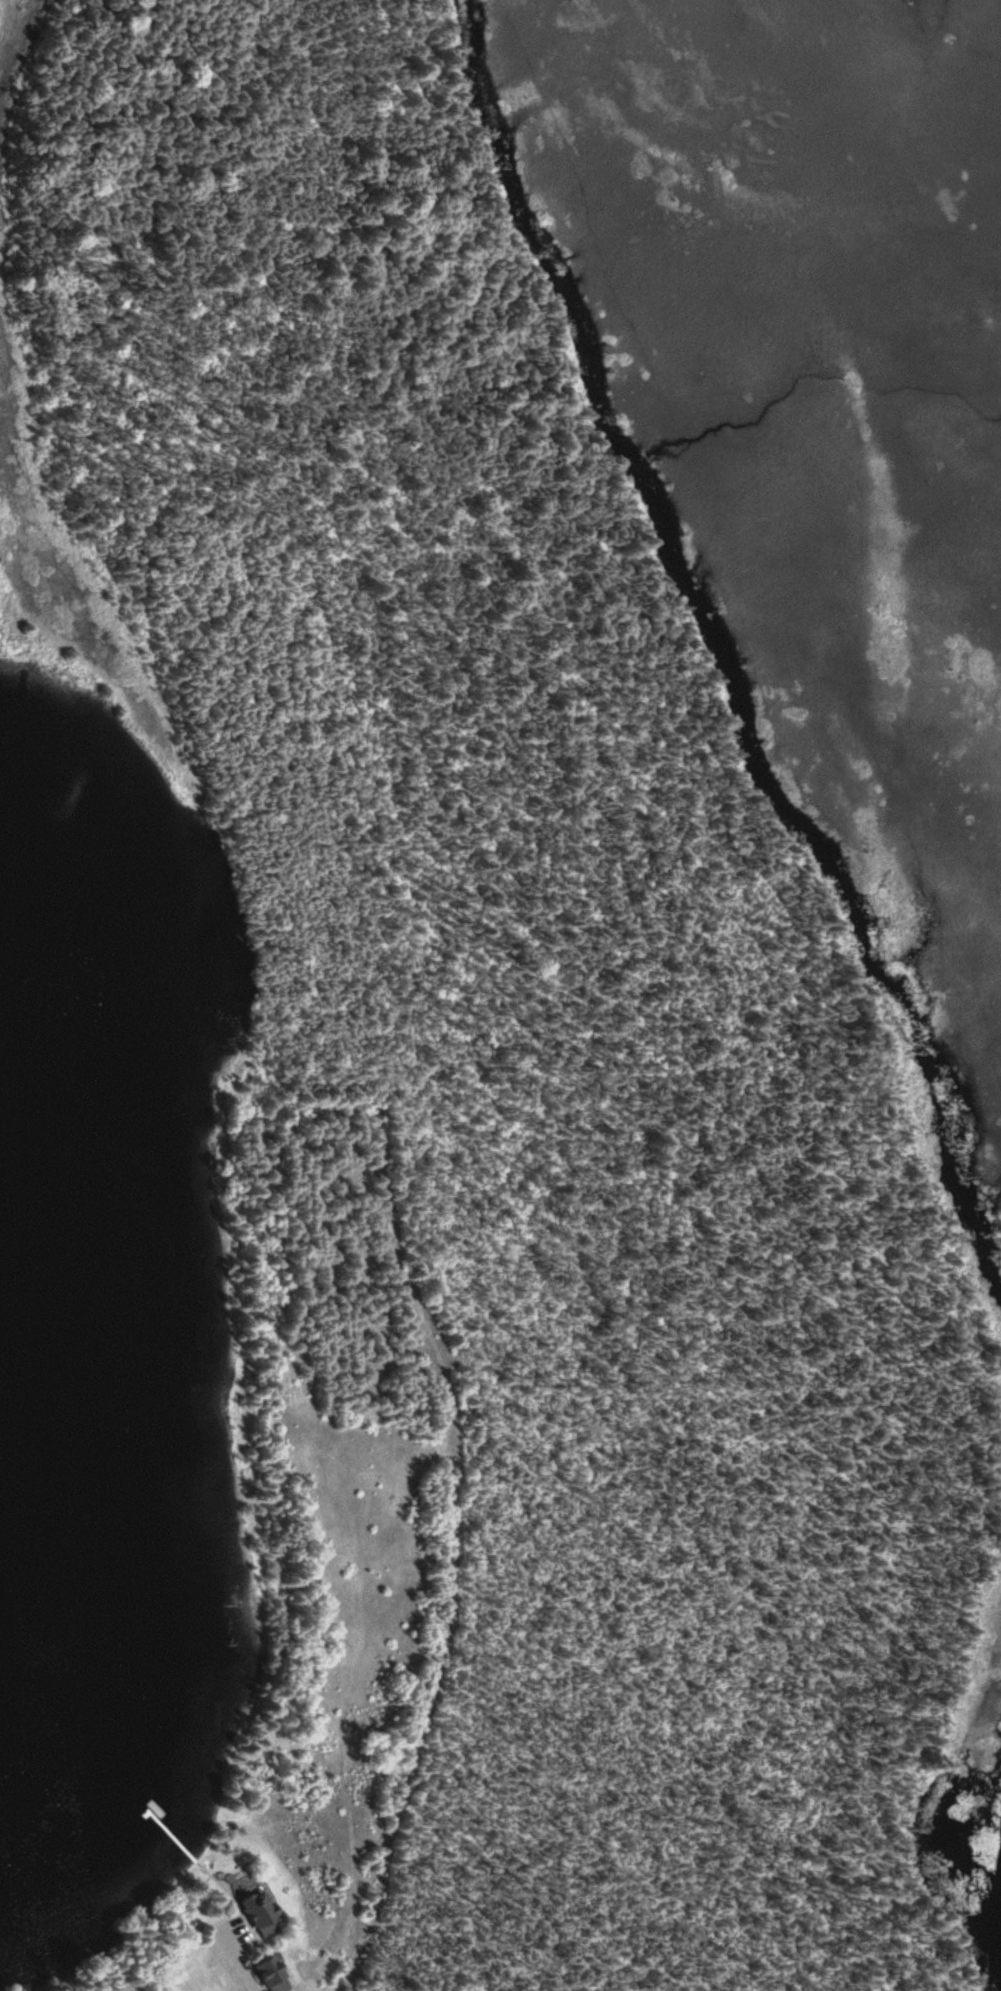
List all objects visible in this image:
road: (449, 1591)
building: (262, 1910)
road: (239, 1963)
building: (275, 1975)

